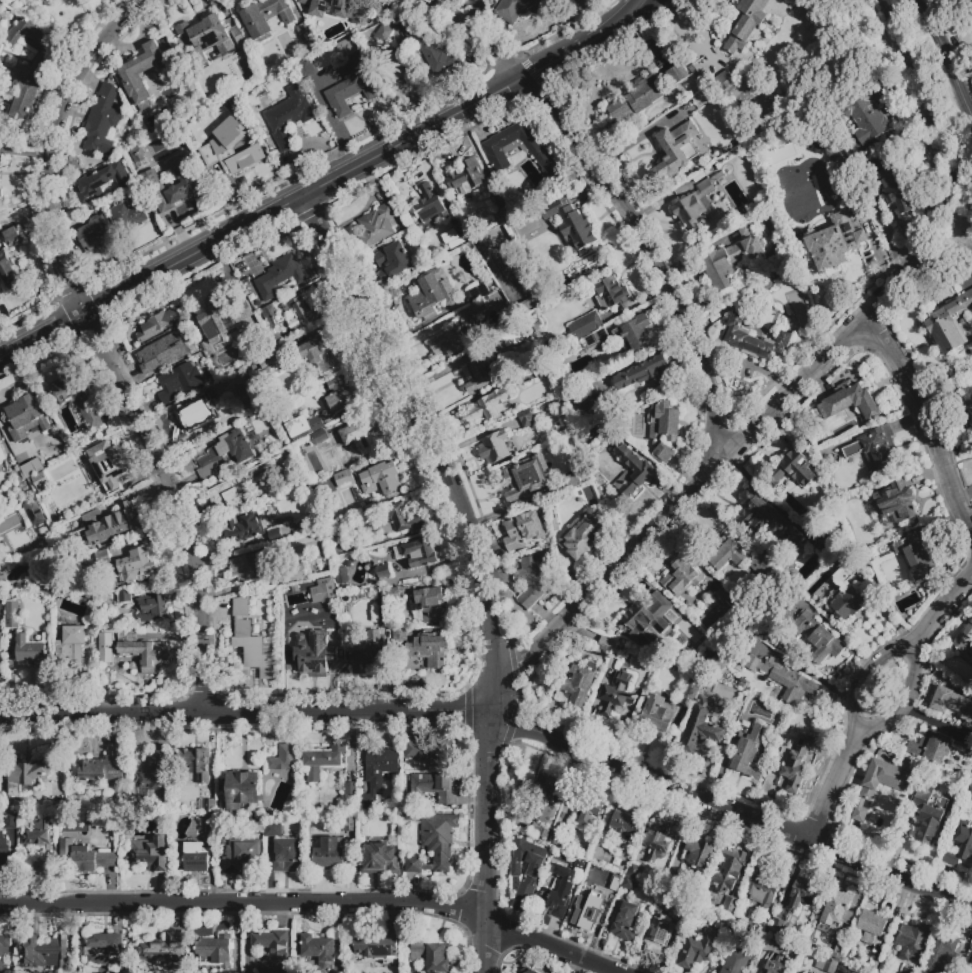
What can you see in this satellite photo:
building: (963, 1)
building: (519, 8)
building: (340, 9)
road: (469, 12)
building: (264, 16)
building: (744, 24)
building: (18, 32)
building: (383, 36)
road: (473, 36)
building: (306, 37)
building: (206, 38)
building: (347, 47)
building: (431, 51)
road: (946, 55)
building: (396, 68)
building: (305, 69)
building: (139, 74)
building: (724, 83)
building: (26, 84)
building: (700, 90)
building: (351, 92)
building: (647, 93)
building: (287, 116)
building: (868, 119)
building: (102, 121)
building: (238, 124)
road: (54, 144)
building: (675, 150)
building: (495, 153)
building: (136, 154)
building: (1, 160)
building: (237, 161)
building: (467, 175)
building: (150, 176)
building: (101, 181)
road: (327, 185)
building: (179, 187)
building: (897, 190)
building: (0, 194)
building: (696, 204)
building: (430, 206)
building: (505, 213)
building: (129, 219)
building: (570, 224)
building: (377, 225)
building: (747, 228)
building: (95, 235)
building: (12, 237)
building: (836, 240)
road: (647, 254)
building: (729, 261)
building: (393, 262)
building: (7, 268)
building: (279, 275)
building: (767, 288)
building: (476, 293)
building: (431, 294)
building: (613, 294)
building: (479, 309)
building: (306, 312)
building: (222, 316)
building: (272, 317)
building: (949, 323)
building: (158, 324)
building: (533, 326)
building: (585, 326)
building: (636, 335)
building: (597, 339)
building: (754, 339)
building: (451, 340)
building: (507, 345)
building: (164, 352)
building: (317, 353)
building: (274, 358)
building: (539, 369)
building: (644, 373)
building: (478, 375)
building: (180, 381)
building: (341, 394)
building: (969, 394)
building: (78, 398)
building: (580, 400)
building: (849, 401)
building: (488, 405)
building: (198, 414)
building: (232, 416)
road: (418, 416)
building: (26, 417)
building: (527, 419)
road: (924, 424)
building: (303, 427)
building: (663, 429)
building: (361, 436)
building: (319, 437)
building: (493, 447)
building: (875, 448)
building: (2, 454)
building: (225, 454)
building: (28, 464)
building: (106, 466)
building: (792, 466)
building: (632, 474)
building: (344, 477)
building: (381, 478)
building: (526, 478)
building: (39, 480)
building: (573, 480)
road: (695, 482)
building: (243, 484)
building: (895, 502)
road: (178, 503)
building: (760, 515)
building: (36, 517)
building: (397, 520)
building: (111, 524)
building: (252, 528)
building: (339, 530)
building: (522, 530)
building: (581, 535)
building: (419, 550)
building: (727, 551)
building: (918, 556)
building: (105, 559)
building: (139, 566)
building: (250, 567)
building: (765, 571)
building: (383, 572)
building: (342, 575)
building: (533, 577)
building: (679, 577)
building: (846, 590)
building: (312, 593)
building: (125, 597)
building: (725, 597)
building: (386, 603)
building: (429, 604)
building: (241, 606)
building: (153, 608)
road: (941, 611)
building: (11, 615)
building: (644, 618)
building: (814, 637)
building: (964, 638)
building: (605, 643)
building: (71, 646)
building: (419, 647)
building: (29, 650)
building: (142, 651)
building: (254, 652)
building: (365, 652)
building: (315, 653)
road: (862, 676)
building: (784, 680)
building: (577, 684)
building: (692, 691)
building: (616, 694)
road: (902, 702)
building: (952, 703)
road: (492, 712)
road: (203, 713)
building: (658, 714)
building: (701, 728)
building: (968, 744)
building: (930, 746)
building: (427, 751)
building: (748, 753)
building: (282, 758)
building: (324, 760)
building: (196, 764)
building: (796, 764)
building: (102, 770)
building: (154, 770)
building: (28, 773)
building: (377, 774)
road: (831, 787)
building: (434, 788)
building: (350, 789)
building: (242, 790)
building: (868, 791)
building: (968, 793)
building: (543, 796)
building: (207, 805)
road: (485, 810)
building: (588, 811)
building: (927, 813)
building: (11, 821)
building: (625, 823)
building: (349, 825)
building: (210, 826)
road: (771, 827)
building: (541, 834)
building: (657, 838)
building: (557, 839)
building: (602, 840)
building: (964, 841)
building: (39, 844)
building: (434, 844)
building: (3, 851)
building: (331, 853)
building: (150, 854)
building: (698, 854)
building: (240, 855)
building: (289, 855)
building: (527, 857)
building: (83, 858)
building: (196, 858)
building: (378, 859)
building: (580, 864)
building: (731, 868)
building: (632, 879)
building: (762, 884)
building: (526, 890)
building: (560, 892)
building: (801, 893)
road: (312, 901)
building: (593, 904)
building: (729, 904)
building: (837, 908)
building: (679, 914)
building: (626, 921)
building: (872, 926)
building: (777, 927)
building: (754, 928)
building: (659, 934)
building: (912, 940)
building: (374, 948)
building: (166, 949)
building: (106, 950)
building: (272, 950)
building: (319, 950)
building: (698, 950)
building: (216, 951)
building: (3, 952)
building: (837, 953)
building: (940, 953)
building: (47, 955)
building: (433, 956)
building: (735, 962)
building: (778, 964)
building: (874, 964)
building: (824, 965)
building: (970, 968)
building: (844, 969)
building: (527, 971)
building: (907, 971)
building: (231, 972)
building: (231, 972)
building: (802, 972)
building: (808, 972)

